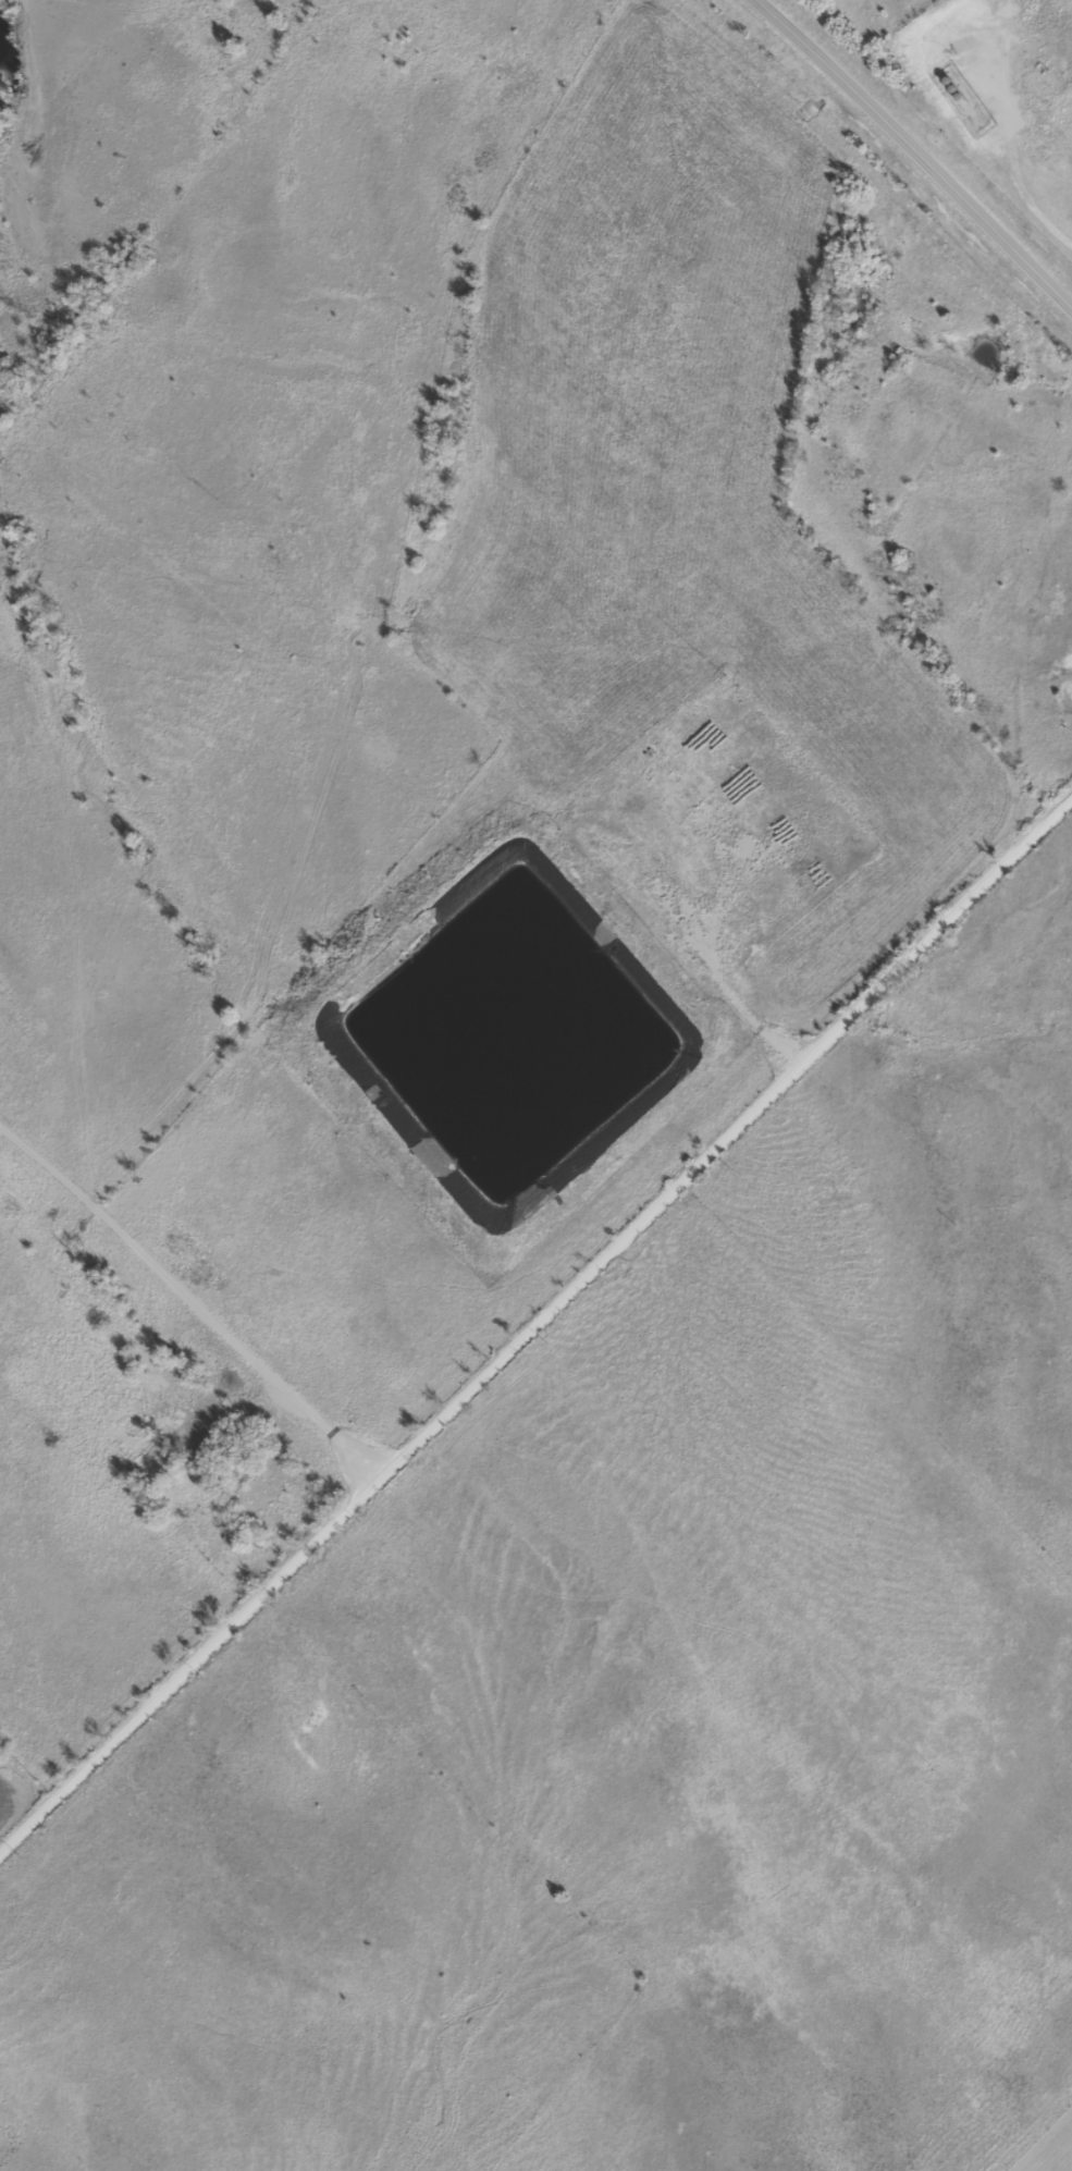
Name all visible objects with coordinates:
road: (913, 151)
building: (855, 836)
road: (188, 1304)
road: (535, 1322)

